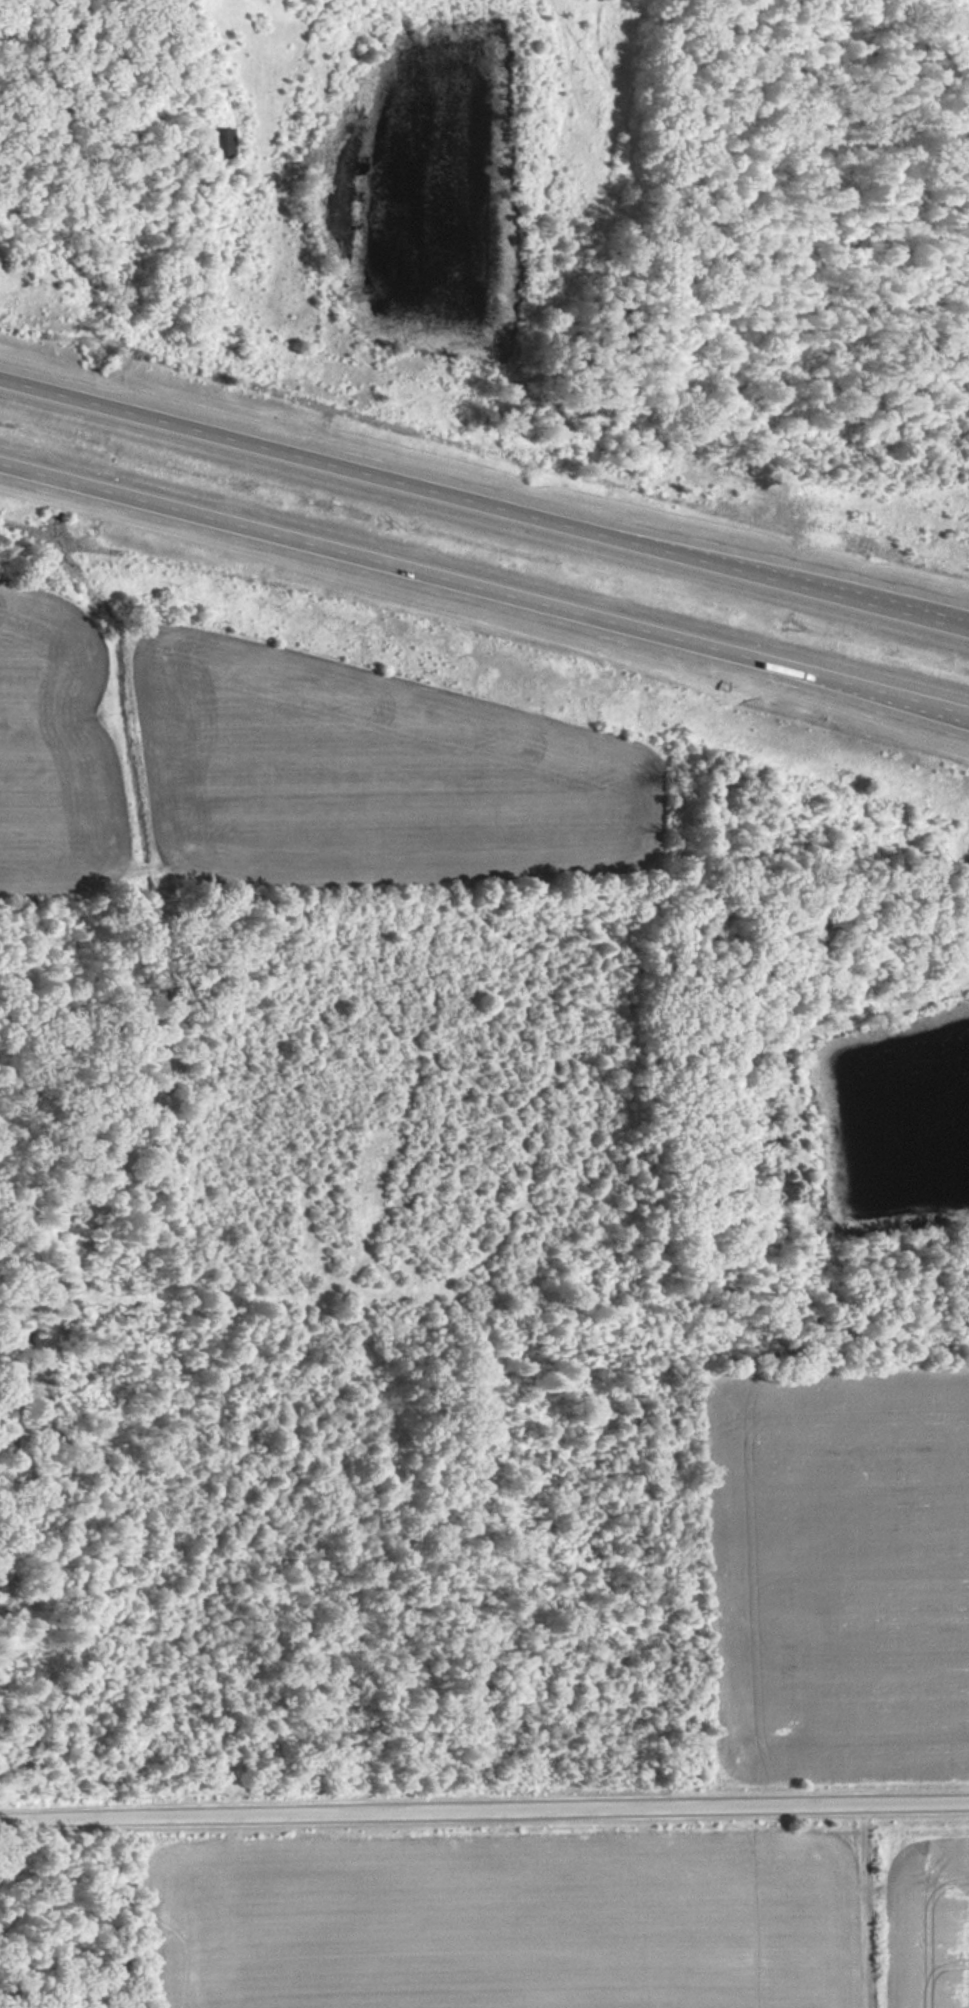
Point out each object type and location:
building: (217, 144)
road: (483, 499)
road: (715, 553)
road: (485, 588)
road: (789, 674)
road: (484, 1806)

